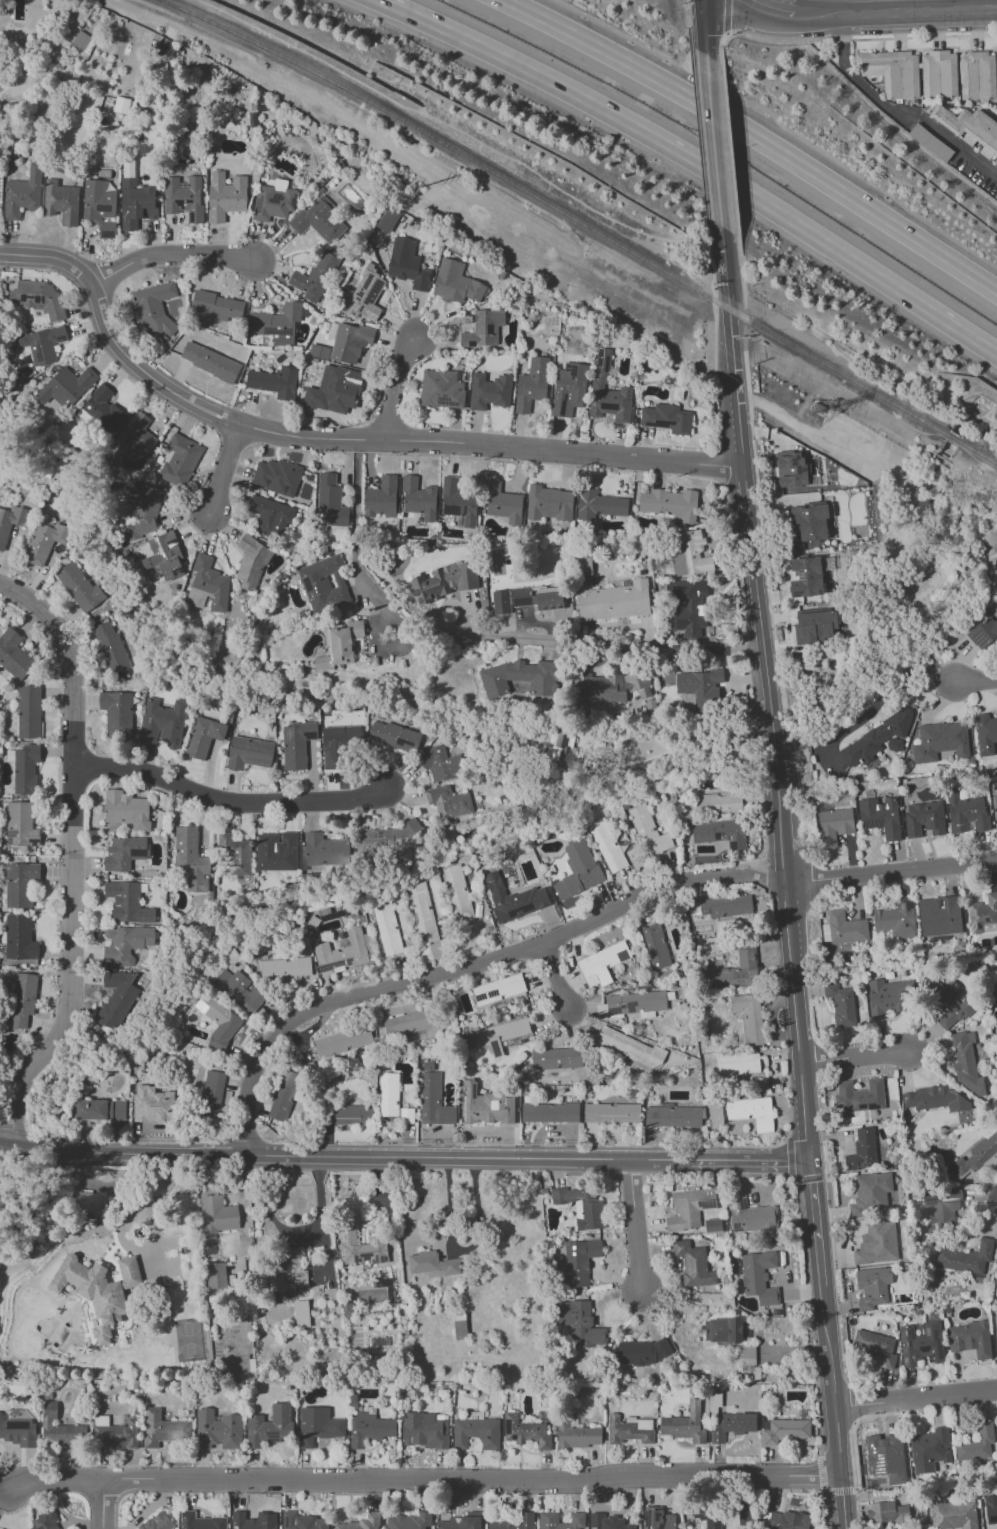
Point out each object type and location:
road: (901, 13)
road: (770, 14)
road: (727, 17)
road: (688, 23)
road: (705, 28)
road: (844, 39)
building: (81, 40)
building: (893, 72)
building: (940, 74)
building: (979, 76)
road: (857, 81)
road: (696, 97)
building: (121, 105)
building: (253, 106)
building: (252, 119)
building: (970, 127)
road: (750, 138)
road: (714, 141)
building: (932, 142)
road: (962, 147)
road: (730, 150)
road: (436, 152)
road: (688, 163)
road: (703, 171)
power tower: (422, 188)
building: (22, 194)
building: (225, 195)
building: (183, 198)
rooftop solar panel: (273, 198)
building: (272, 200)
building: (61, 201)
rooftop solar panel: (258, 202)
rooftop solar panel: (291, 202)
building: (136, 203)
building: (99, 205)
road: (706, 206)
rooftop solar panel: (103, 208)
railway: (557, 208)
building: (386, 219)
building: (318, 220)
rooftop solar panel: (106, 231)
road: (171, 255)
building: (406, 264)
road: (742, 271)
building: (314, 276)
rooftop solar panel: (366, 281)
building: (455, 282)
rooftop solar panel: (374, 292)
rooftop solar panel: (359, 294)
building: (365, 296)
rooftop solar panel: (24, 298)
building: (37, 298)
rooftop solar panel: (38, 298)
rooftop solar panel: (44, 298)
rooftop solar panel: (357, 298)
building: (216, 305)
road: (714, 305)
rooftop solar panel: (359, 308)
building: (153, 309)
building: (276, 322)
building: (483, 328)
road: (744, 328)
rooftop solar panel: (63, 337)
building: (350, 342)
building: (42, 343)
rooftop solar panel: (39, 349)
building: (319, 351)
rooftop solar panel: (599, 354)
building: (210, 361)
rooftop solar panel: (598, 361)
rooftop solar panel: (606, 365)
building: (274, 381)
building: (531, 383)
road: (396, 384)
building: (66, 386)
building: (339, 388)
building: (441, 389)
building: (567, 389)
road: (849, 389)
building: (489, 391)
building: (607, 391)
building: (677, 393)
rooftop solar panel: (610, 406)
building: (101, 412)
power tower: (812, 415)
building: (667, 418)
rooftop solar panel: (660, 425)
building: (137, 433)
road: (815, 435)
railway: (953, 438)
road: (332, 439)
railway: (977, 452)
building: (179, 459)
road: (977, 461)
rooftop solar panel: (790, 462)
building: (791, 468)
rooftop solar panel: (797, 470)
road: (226, 471)
building: (277, 475)
building: (419, 497)
building: (380, 498)
building: (457, 501)
building: (329, 502)
building: (548, 502)
building: (502, 503)
building: (669, 503)
building: (598, 505)
building: (143, 509)
building: (269, 515)
building: (10, 521)
building: (808, 522)
road: (358, 529)
building: (44, 540)
rooftop solar panel: (170, 541)
road: (762, 545)
building: (688, 552)
road: (752, 555)
building: (164, 556)
building: (250, 561)
building: (585, 565)
rooftop solar panel: (174, 570)
building: (806, 577)
building: (445, 580)
building: (210, 582)
building: (324, 583)
building: (79, 587)
building: (526, 598)
building: (613, 599)
rooftop solar panel: (521, 601)
building: (686, 605)
building: (814, 626)
building: (984, 633)
rooftop solar panel: (980, 636)
road: (613, 641)
building: (340, 645)
building: (110, 646)
road: (394, 650)
building: (14, 656)
building: (520, 677)
road: (975, 682)
building: (613, 686)
building: (701, 688)
building: (649, 705)
building: (29, 711)
building: (117, 712)
road: (863, 715)
building: (163, 723)
building: (986, 733)
building: (394, 735)
building: (203, 736)
building: (875, 738)
building: (940, 741)
building: (296, 743)
building: (339, 744)
building: (894, 744)
building: (563, 749)
road: (697, 749)
building: (249, 753)
building: (441, 764)
building: (25, 768)
building: (449, 802)
building: (715, 802)
road: (228, 803)
building: (127, 809)
building: (995, 810)
building: (966, 812)
building: (880, 816)
building: (924, 818)
rooftop solar panel: (870, 823)
rooftop solar panel: (971, 823)
building: (20, 825)
building: (833, 826)
building: (649, 831)
building: (720, 832)
rooftop solar panel: (717, 835)
rooftop solar panel: (731, 844)
building: (607, 846)
building: (325, 850)
building: (276, 851)
building: (124, 852)
building: (235, 853)
building: (190, 858)
road: (73, 859)
building: (577, 870)
road: (890, 871)
road: (760, 879)
building: (20, 883)
building: (457, 893)
building: (513, 898)
building: (127, 902)
building: (725, 906)
building: (422, 912)
building: (983, 914)
rooftop solar panel: (331, 915)
building: (939, 915)
rooftop solar panel: (972, 917)
building: (896, 920)
rooftop solar panel: (987, 921)
rooftop solar panel: (978, 926)
building: (387, 928)
building: (846, 928)
building: (19, 938)
building: (126, 942)
building: (655, 946)
building: (345, 951)
rooftop solar panel: (622, 955)
rooftop solar panel: (348, 961)
building: (602, 963)
rooftop solar panel: (331, 965)
building: (285, 967)
building: (736, 970)
road: (446, 971)
road: (559, 980)
building: (238, 989)
building: (498, 989)
rooftop solar panel: (493, 995)
rooftop solar panel: (480, 996)
building: (889, 996)
building: (117, 998)
building: (23, 999)
building: (636, 1004)
building: (841, 1004)
rooftop solar panel: (628, 1005)
building: (950, 1005)
rooftop solar panel: (614, 1012)
building: (747, 1018)
building: (218, 1021)
road: (796, 1021)
building: (409, 1022)
building: (501, 1034)
building: (342, 1041)
building: (631, 1047)
road: (854, 1057)
building: (556, 1058)
building: (966, 1062)
building: (737, 1064)
rooftop solar panel: (473, 1090)
building: (388, 1094)
building: (211, 1095)
building: (284, 1095)
building: (859, 1097)
building: (433, 1098)
building: (935, 1099)
rooftop solar panel: (465, 1102)
building: (152, 1104)
building: (485, 1105)
building: (99, 1109)
building: (550, 1112)
building: (611, 1112)
building: (751, 1112)
building: (716, 1113)
building: (351, 1114)
rooftop solar panel: (465, 1116)
building: (673, 1116)
road: (12, 1130)
road: (790, 1130)
road: (26, 1150)
road: (60, 1150)
building: (862, 1150)
road: (397, 1154)
building: (977, 1154)
road: (767, 1159)
traffic signals: (808, 1160)
building: (991, 1161)
road: (588, 1172)
road: (719, 1174)
road: (790, 1174)
road: (627, 1175)
road: (163, 1184)
rooftop solar panel: (863, 1189)
building: (871, 1193)
rooftop solar panel: (931, 1202)
rooftop solar panel: (743, 1203)
building: (90, 1204)
rooftop solar panel: (705, 1204)
rooftop solar panel: (733, 1205)
building: (581, 1206)
building: (941, 1207)
building: (689, 1208)
building: (218, 1214)
building: (750, 1215)
road: (130, 1219)
road: (813, 1222)
road: (635, 1225)
building: (713, 1225)
rooftop solar panel: (379, 1243)
building: (877, 1243)
building: (362, 1247)
rooftop solar panel: (366, 1254)
building: (966, 1257)
rooftop solar panel: (381, 1258)
rooftop solar panel: (357, 1260)
rooftop solar panel: (375, 1261)
building: (579, 1261)
building: (432, 1264)
building: (693, 1264)
building: (291, 1269)
building: (129, 1271)
building: (216, 1275)
building: (759, 1277)
building: (872, 1287)
building: (93, 1293)
building: (301, 1313)
road: (809, 1315)
building: (581, 1324)
building: (723, 1329)
rooftop solar panel: (928, 1331)
rooftop solar panel: (911, 1333)
building: (996, 1333)
rooftop solar panel: (937, 1335)
rooftop solar panel: (903, 1337)
building: (970, 1338)
rooftop solar panel: (908, 1343)
building: (921, 1344)
building: (875, 1347)
rooftop solar panel: (904, 1350)
building: (642, 1351)
rooftop solar panel: (941, 1352)
building: (748, 1357)
rooftop solar panel: (906, 1359)
road: (915, 1400)
road: (832, 1406)
building: (728, 1420)
building: (684, 1424)
building: (317, 1425)
building: (270, 1426)
building: (60, 1428)
building: (163, 1429)
building: (218, 1429)
building: (369, 1429)
building: (630, 1429)
building: (424, 1430)
building: (784, 1430)
building: (18, 1431)
building: (116, 1431)
building: (476, 1431)
building: (525, 1431)
building: (577, 1435)
rooftop solar panel: (273, 1436)
building: (977, 1443)
building: (929, 1450)
building: (886, 1457)
road: (820, 1470)
road: (422, 1478)
road: (840, 1490)
road: (825, 1492)
road: (103, 1506)
road: (826, 1507)
building: (991, 1508)
road: (856, 1509)
building: (887, 1512)
building: (707, 1515)
building: (953, 1515)
building: (548, 1517)
building: (658, 1518)
building: (45, 1520)
building: (254, 1520)
building: (788, 1520)
building: (200, 1521)
building: (303, 1521)
building: (408, 1521)
building: (157, 1522)
rooftop solar panel: (286, 1522)
building: (462, 1522)
building: (514, 1522)
building: (360, 1523)
rooftop solar panel: (184, 1525)

